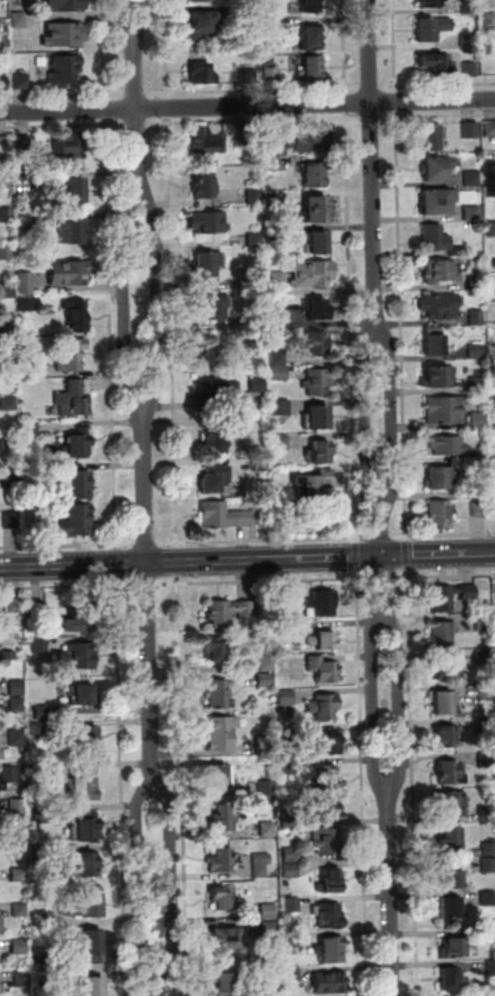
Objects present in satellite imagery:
building: (202, 1)
building: (431, 4)
building: (65, 5)
building: (311, 6)
building: (469, 6)
building: (249, 18)
building: (19, 21)
building: (490, 21)
road: (127, 25)
road: (144, 25)
building: (203, 25)
building: (273, 28)
building: (434, 29)
building: (66, 37)
building: (312, 39)
building: (470, 41)
road: (397, 46)
road: (346, 47)
road: (167, 49)
road: (105, 50)
building: (270, 61)
building: (42, 63)
building: (436, 65)
building: (471, 69)
building: (314, 70)
building: (65, 73)
building: (250, 77)
building: (273, 77)
building: (204, 78)
building: (4, 83)
building: (23, 83)
road: (438, 85)
road: (372, 89)
road: (254, 90)
road: (137, 93)
road: (63, 95)
road: (398, 101)
road: (347, 103)
road: (247, 106)
road: (169, 108)
road: (107, 109)
road: (137, 112)
road: (438, 115)
road: (372, 117)
road: (254, 120)
road: (138, 122)
road: (65, 125)
building: (472, 130)
building: (491, 130)
building: (271, 133)
building: (309, 137)
building: (207, 138)
building: (241, 138)
building: (432, 139)
building: (4, 143)
building: (25, 143)
building: (67, 148)
building: (273, 163)
road: (373, 167)
building: (437, 169)
building: (312, 173)
building: (5, 179)
building: (474, 179)
building: (266, 181)
building: (203, 184)
building: (492, 192)
building: (75, 195)
building: (253, 195)
building: (439, 202)
building: (313, 208)
building: (474, 213)
building: (7, 214)
building: (207, 221)
building: (492, 230)
building: (275, 234)
building: (70, 237)
building: (255, 239)
building: (440, 240)
building: (317, 241)
building: (5, 252)
building: (206, 262)
building: (494, 267)
building: (440, 270)
building: (69, 271)
building: (313, 272)
building: (493, 280)
building: (255, 281)
building: (277, 282)
building: (25, 283)
building: (478, 284)
building: (3, 289)
road: (125, 300)
road: (157, 301)
building: (25, 304)
building: (212, 305)
building: (440, 305)
building: (316, 308)
building: (76, 313)
building: (278, 313)
building: (475, 318)
road: (402, 323)
road: (351, 324)
building: (6, 327)
road: (172, 329)
road: (113, 334)
building: (433, 341)
building: (316, 343)
building: (24, 347)
building: (475, 351)
building: (209, 352)
building: (71, 353)
building: (277, 357)
building: (257, 362)
building: (8, 367)
building: (29, 369)
building: (279, 373)
building: (439, 376)
building: (317, 382)
building: (256, 383)
building: (477, 385)
building: (493, 385)
building: (211, 392)
building: (74, 398)
building: (493, 401)
building: (9, 403)
building: (280, 408)
building: (446, 409)
building: (316, 417)
road: (390, 419)
road: (368, 420)
building: (477, 420)
building: (31, 428)
building: (216, 434)
building: (280, 441)
building: (9, 442)
building: (76, 445)
building: (447, 445)
building: (318, 451)
building: (493, 454)
building: (482, 457)
building: (259, 462)
building: (438, 477)
building: (214, 478)
building: (10, 479)
building: (313, 481)
building: (78, 484)
building: (478, 487)
building: (478, 509)
building: (225, 515)
building: (440, 515)
building: (75, 518)
building: (11, 520)
road: (442, 535)
road: (381, 537)
road: (406, 539)
road: (264, 540)
road: (357, 540)
road: (144, 543)
road: (66, 545)
road: (176, 545)
road: (406, 555)
road: (357, 556)
traffic signals: (382, 556)
road: (247, 560)
road: (176, 561)
road: (382, 562)
road: (117, 563)
road: (447, 575)
road: (399, 577)
road: (382, 578)
road: (265, 581)
road: (146, 584)
road: (67, 586)
building: (449, 595)
building: (11, 603)
building: (287, 604)
building: (320, 604)
building: (484, 607)
road: (146, 610)
building: (227, 612)
building: (40, 614)
building: (76, 618)
building: (482, 621)
building: (284, 629)
building: (442, 632)
building: (322, 640)
building: (37, 644)
building: (217, 648)
building: (7, 653)
building: (77, 653)
building: (484, 654)
building: (267, 661)
building: (446, 667)
building: (323, 669)
building: (264, 678)
building: (14, 686)
building: (485, 691)
building: (80, 692)
building: (218, 693)
building: (286, 696)
road: (395, 701)
building: (13, 702)
road: (375, 702)
building: (445, 702)
building: (324, 706)
building: (38, 710)
building: (485, 725)
building: (36, 727)
building: (287, 731)
building: (219, 732)
building: (445, 735)
building: (14, 736)
building: (84, 737)
building: (263, 744)
building: (328, 744)
building: (486, 760)
building: (288, 766)
building: (7, 772)
building: (42, 772)
building: (449, 773)
building: (219, 776)
building: (327, 777)
road: (361, 782)
building: (1, 783)
building: (80, 783)
road: (182, 785)
road: (122, 786)
road: (412, 786)
building: (266, 788)
building: (453, 803)
building: (15, 804)
building: (327, 810)
building: (486, 813)
building: (41, 814)
building: (222, 817)
building: (287, 818)
building: (83, 828)
building: (267, 828)
building: (450, 838)
building: (328, 841)
building: (19, 842)
building: (488, 848)
building: (40, 854)
building: (291, 854)
building: (222, 860)
building: (80, 864)
building: (260, 864)
building: (488, 865)
building: (290, 870)
building: (16, 873)
building: (451, 876)
road: (139, 879)
road: (169, 879)
building: (329, 881)
road: (390, 891)
building: (221, 898)
building: (488, 899)
building: (82, 904)
building: (291, 905)
building: (17, 907)
building: (451, 909)
building: (267, 911)
building: (330, 916)
building: (41, 917)
building: (0, 924)
building: (269, 929)
building: (227, 936)
building: (292, 937)
building: (90, 944)
building: (16, 945)
building: (453, 948)
building: (332, 949)
building: (43, 962)
building: (491, 968)
building: (292, 973)
building: (49, 978)
building: (451, 979)
building: (21, 982)
road: (158, 982)
building: (330, 982)
building: (225, 984)
building: (89, 986)
building: (270, 991)

